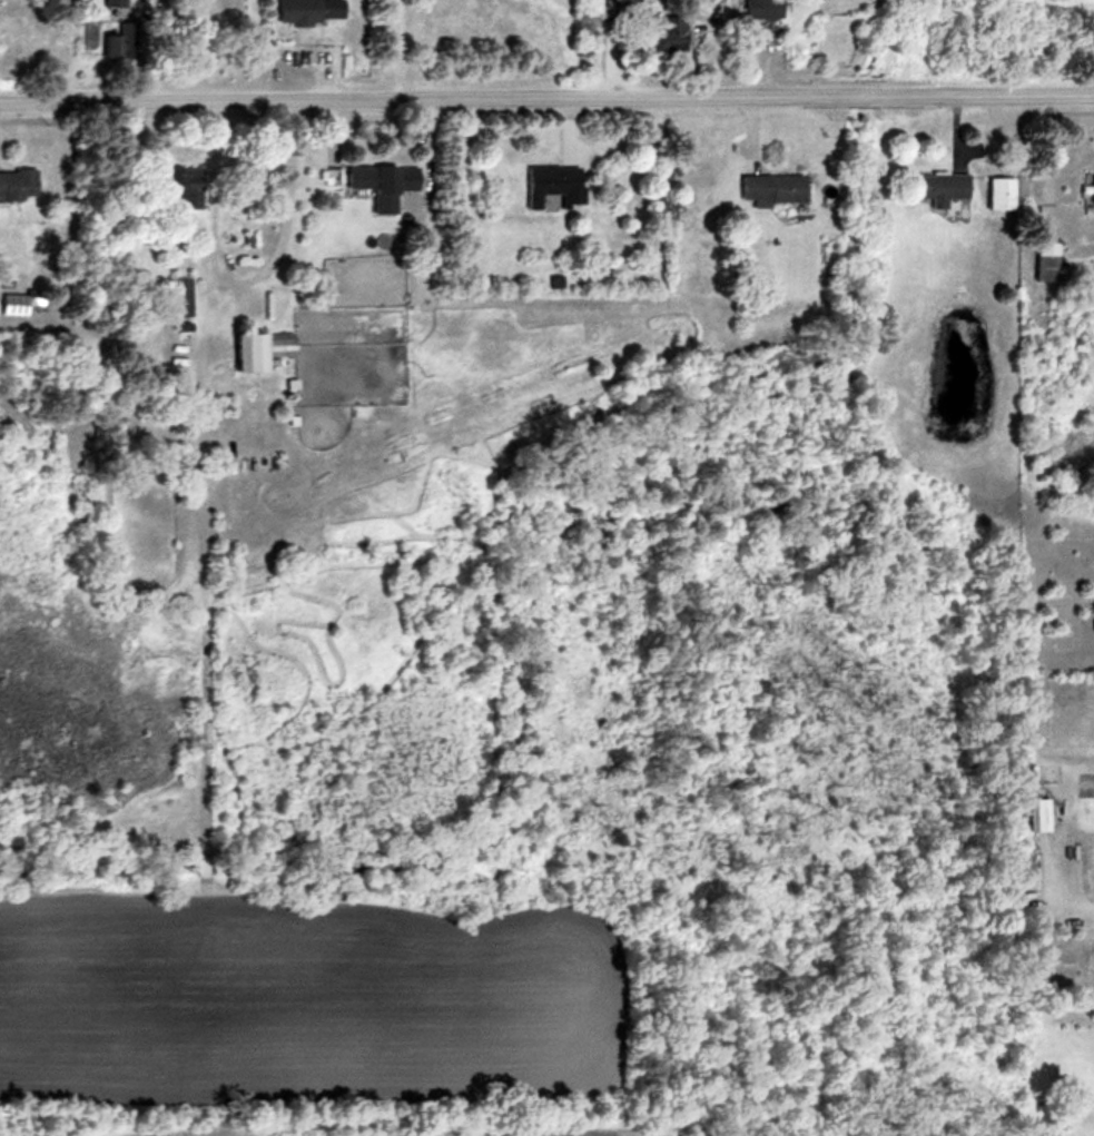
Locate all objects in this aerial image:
building: (116, 3)
building: (765, 8)
building: (313, 10)
building: (672, 31)
building: (115, 42)
building: (805, 47)
road: (392, 48)
road: (546, 95)
building: (555, 181)
building: (19, 182)
building: (382, 184)
building: (187, 185)
building: (776, 186)
building: (934, 186)
building: (1088, 188)
building: (994, 192)
building: (1038, 259)
building: (21, 299)
building: (268, 347)
road: (1067, 872)

